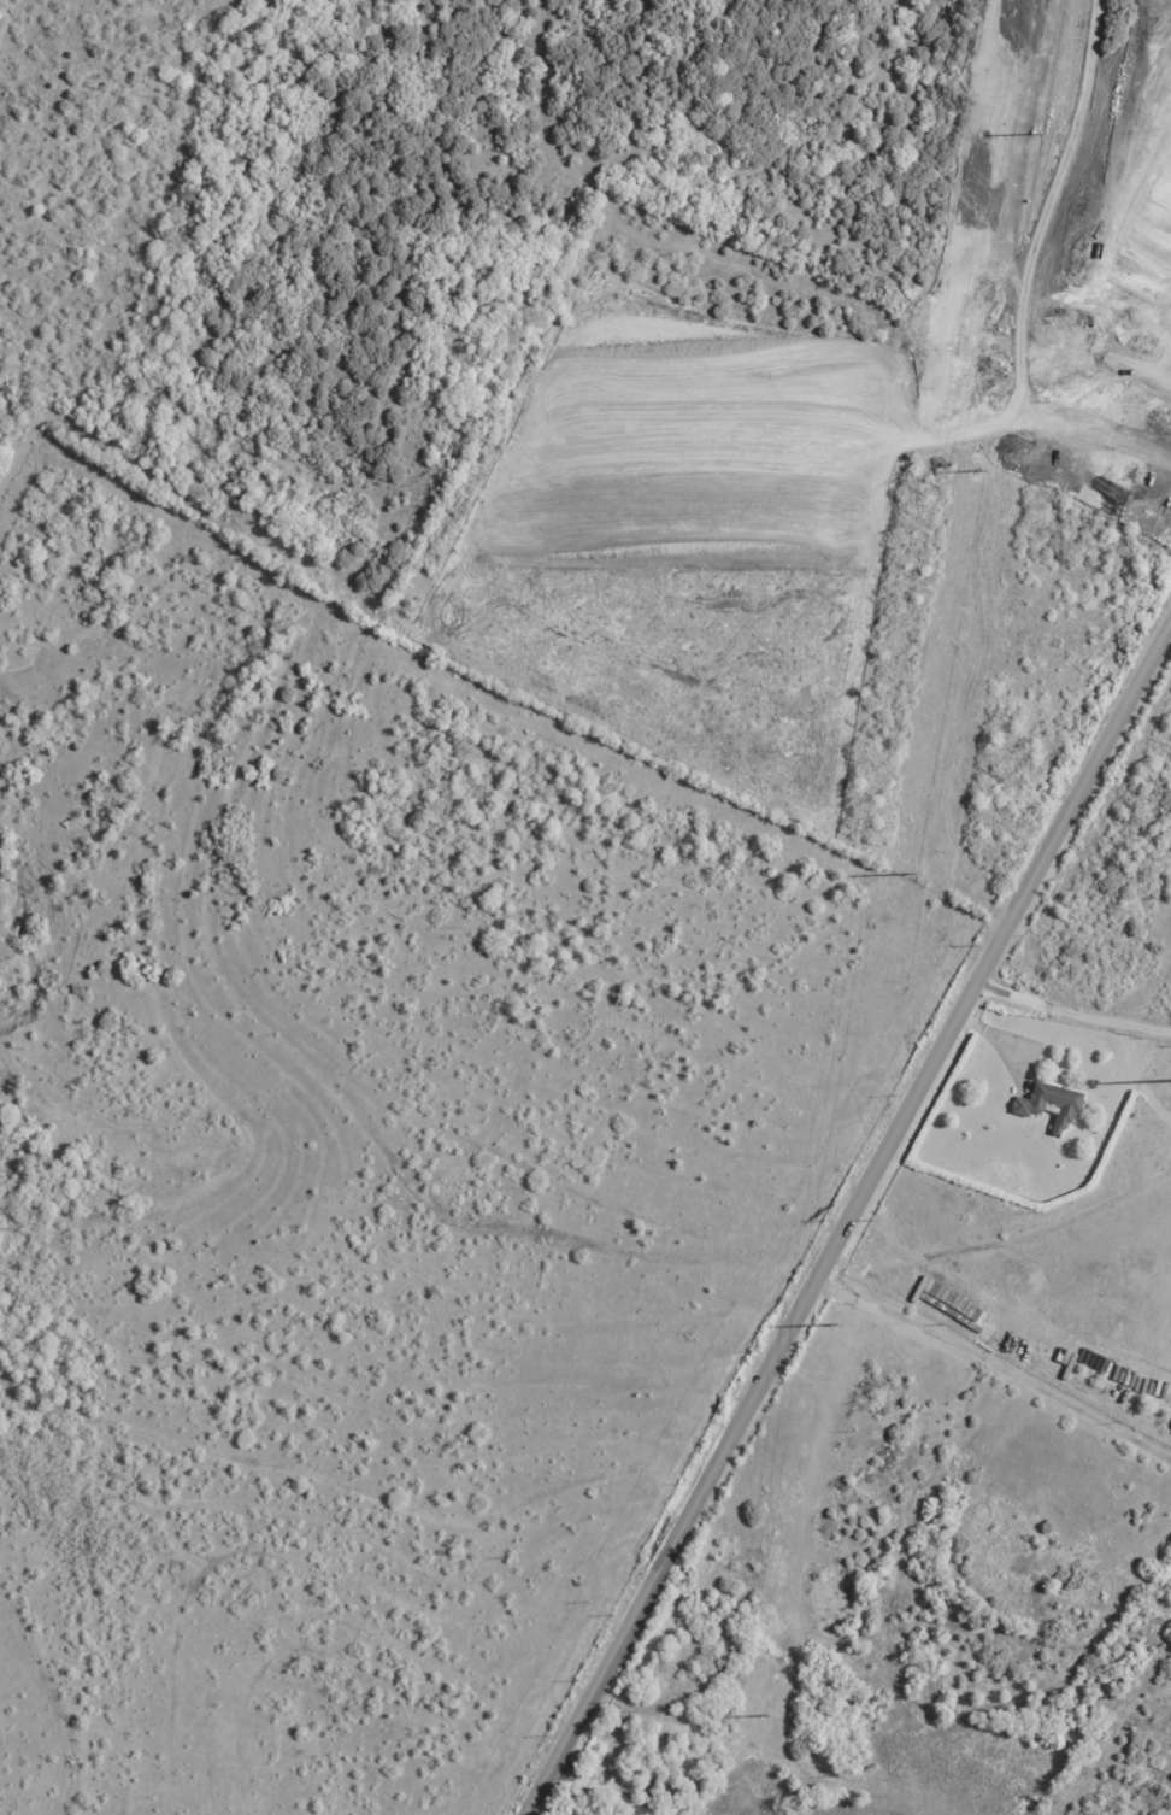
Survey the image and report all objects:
road: (1148, 365)
road: (1167, 365)
road: (1071, 1011)
road: (1005, 1041)
building: (1052, 1105)
road: (847, 1216)
road: (995, 1362)
road: (587, 1779)

